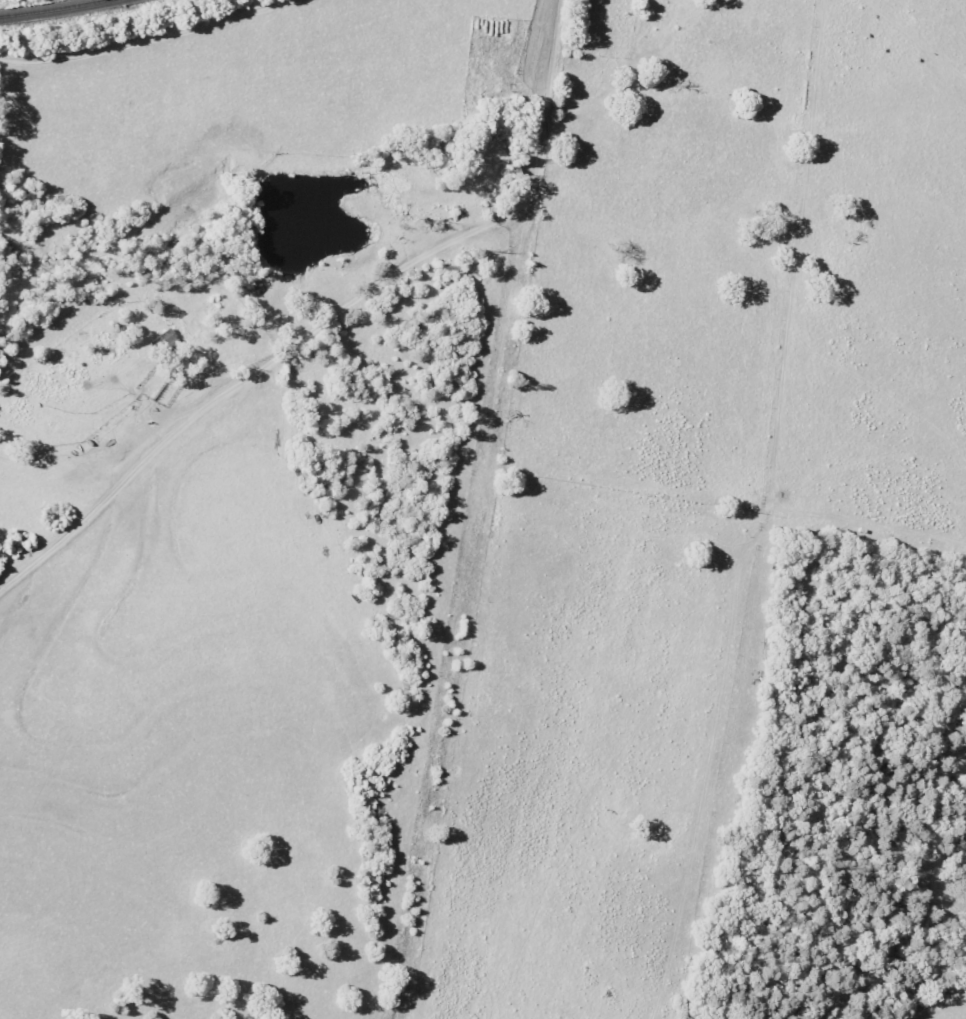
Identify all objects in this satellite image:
railway: (55, 10)
road: (146, 40)
road: (548, 92)
road: (258, 371)
road: (471, 602)

